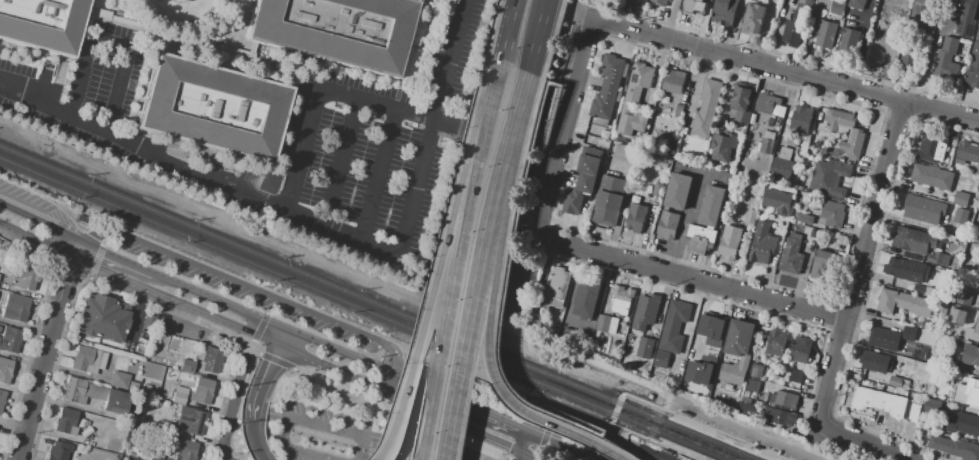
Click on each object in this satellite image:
building: (659, 2)
building: (858, 4)
building: (803, 5)
building: (697, 6)
building: (837, 6)
building: (725, 12)
road: (576, 15)
building: (921, 15)
building: (753, 18)
building: (967, 18)
building: (883, 21)
building: (978, 21)
road: (177, 23)
building: (42, 24)
building: (896, 29)
building: (336, 30)
road: (232, 31)
building: (793, 32)
road: (512, 33)
road: (542, 35)
building: (826, 35)
building: (977, 36)
building: (849, 40)
road: (203, 41)
road: (111, 43)
building: (879, 52)
road: (859, 53)
building: (910, 54)
building: (947, 60)
road: (928, 64)
building: (973, 69)
building: (612, 72)
road: (786, 72)
building: (674, 81)
building: (635, 100)
building: (743, 101)
building: (767, 102)
building: (604, 104)
building: (680, 106)
building: (212, 108)
road: (548, 108)
building: (707, 109)
road: (414, 110)
road: (520, 112)
building: (801, 119)
road: (491, 120)
road: (567, 129)
building: (857, 136)
road: (521, 140)
building: (767, 142)
building: (816, 144)
building: (724, 147)
building: (931, 147)
building: (800, 149)
building: (625, 151)
building: (968, 152)
road: (342, 159)
building: (589, 164)
building: (782, 165)
building: (667, 167)
road: (382, 173)
building: (932, 177)
building: (829, 179)
building: (657, 190)
building: (679, 191)
building: (578, 194)
parking lot: (26, 197)
building: (961, 198)
building: (609, 200)
building: (776, 201)
building: (712, 205)
building: (923, 210)
road: (22, 213)
building: (832, 214)
building: (750, 216)
building: (961, 216)
building: (636, 217)
building: (84, 219)
building: (804, 219)
road: (322, 220)
building: (668, 225)
road: (59, 232)
building: (796, 234)
building: (700, 239)
building: (914, 241)
building: (978, 241)
building: (729, 242)
building: (762, 243)
building: (791, 257)
road: (113, 259)
building: (939, 259)
road: (862, 262)
building: (821, 264)
road: (488, 267)
building: (907, 270)
building: (25, 278)
road: (694, 278)
road: (126, 280)
road: (510, 283)
road: (247, 286)
building: (558, 287)
building: (926, 290)
parking lot: (251, 293)
building: (587, 297)
building: (964, 297)
building: (621, 300)
road: (977, 300)
railway: (376, 303)
building: (903, 303)
road: (219, 304)
building: (16, 308)
railway: (359, 309)
building: (942, 309)
building: (645, 311)
road: (176, 312)
building: (956, 316)
road: (425, 317)
road: (451, 317)
building: (103, 318)
building: (534, 319)
building: (606, 324)
building: (673, 325)
building: (976, 328)
building: (711, 329)
building: (555, 330)
building: (909, 333)
traffic signals: (260, 336)
road: (325, 337)
building: (884, 338)
road: (267, 339)
road: (283, 339)
building: (10, 340)
traffic signals: (311, 341)
road: (250, 343)
road: (494, 344)
building: (776, 344)
road: (551, 345)
building: (644, 348)
road: (46, 350)
building: (800, 350)
building: (738, 351)
building: (972, 354)
traffic signals: (275, 356)
road: (353, 358)
building: (211, 359)
building: (660, 359)
building: (88, 360)
building: (616, 360)
road: (276, 361)
building: (948, 361)
building: (874, 362)
building: (187, 366)
building: (705, 367)
building: (5, 370)
building: (901, 370)
building: (756, 371)
road: (347, 375)
building: (795, 377)
building: (119, 380)
building: (896, 381)
road: (342, 382)
road: (260, 384)
building: (132, 386)
building: (752, 386)
building: (728, 388)
building: (149, 389)
building: (74, 390)
building: (203, 391)
building: (973, 392)
building: (745, 394)
building: (179, 395)
road: (620, 396)
building: (751, 396)
building: (2, 399)
building: (783, 399)
road: (448, 400)
building: (115, 401)
building: (145, 401)
building: (880, 401)
road: (73, 405)
road: (233, 406)
traffic signals: (415, 406)
building: (931, 406)
building: (746, 408)
railway: (675, 412)
road: (405, 413)
road: (563, 413)
building: (914, 415)
building: (778, 416)
road: (460, 419)
building: (191, 420)
road: (308, 420)
building: (66, 421)
building: (81, 423)
building: (87, 423)
road: (412, 423)
building: (967, 424)
road: (504, 425)
road: (748, 426)
building: (131, 430)
road: (470, 430)
road: (714, 431)
parking lot: (324, 432)
road: (432, 436)
road: (465, 436)
railway: (664, 438)
building: (128, 440)
road: (606, 440)
road: (863, 441)
traffic signals: (549, 442)
road: (254, 443)
road: (543, 444)
parking lot: (445, 445)
road: (529, 446)
traffic signals: (503, 447)
road: (562, 447)
building: (954, 447)
building: (186, 450)
building: (58, 451)
road: (675, 451)
road: (415, 452)
parking lot: (659, 455)
building: (146, 457)
building: (154, 458)
road: (511, 458)
road: (524, 458)
road: (527, 458)
road: (616, 459)

